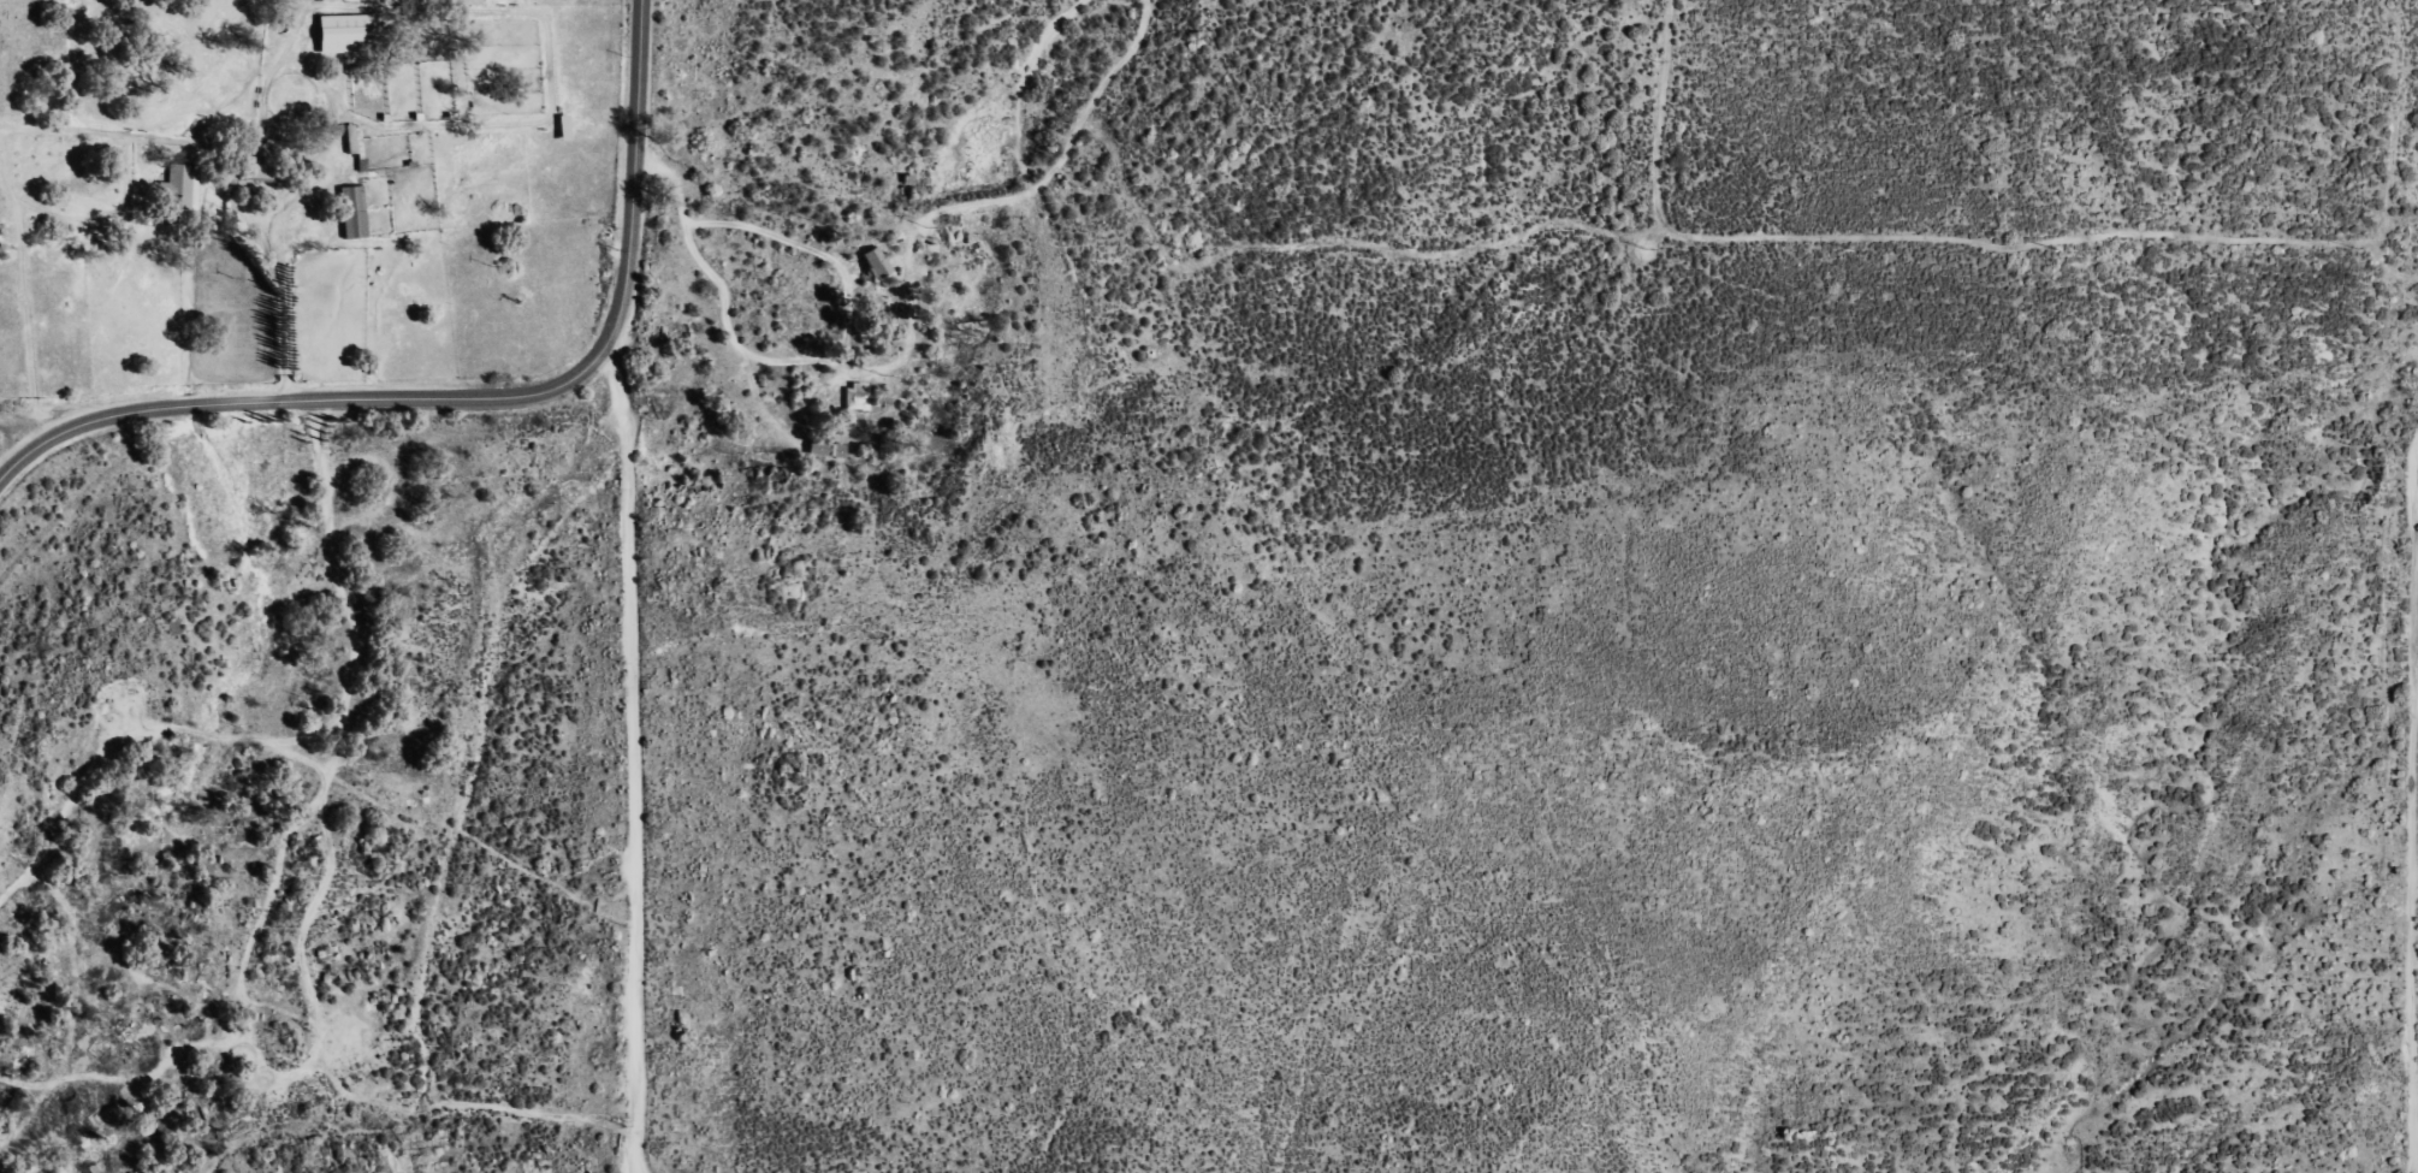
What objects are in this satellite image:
building: (344, 32)
building: (354, 144)
building: (177, 189)
building: (350, 213)
building: (876, 263)
building: (854, 398)
road: (478, 399)
building: (825, 450)

